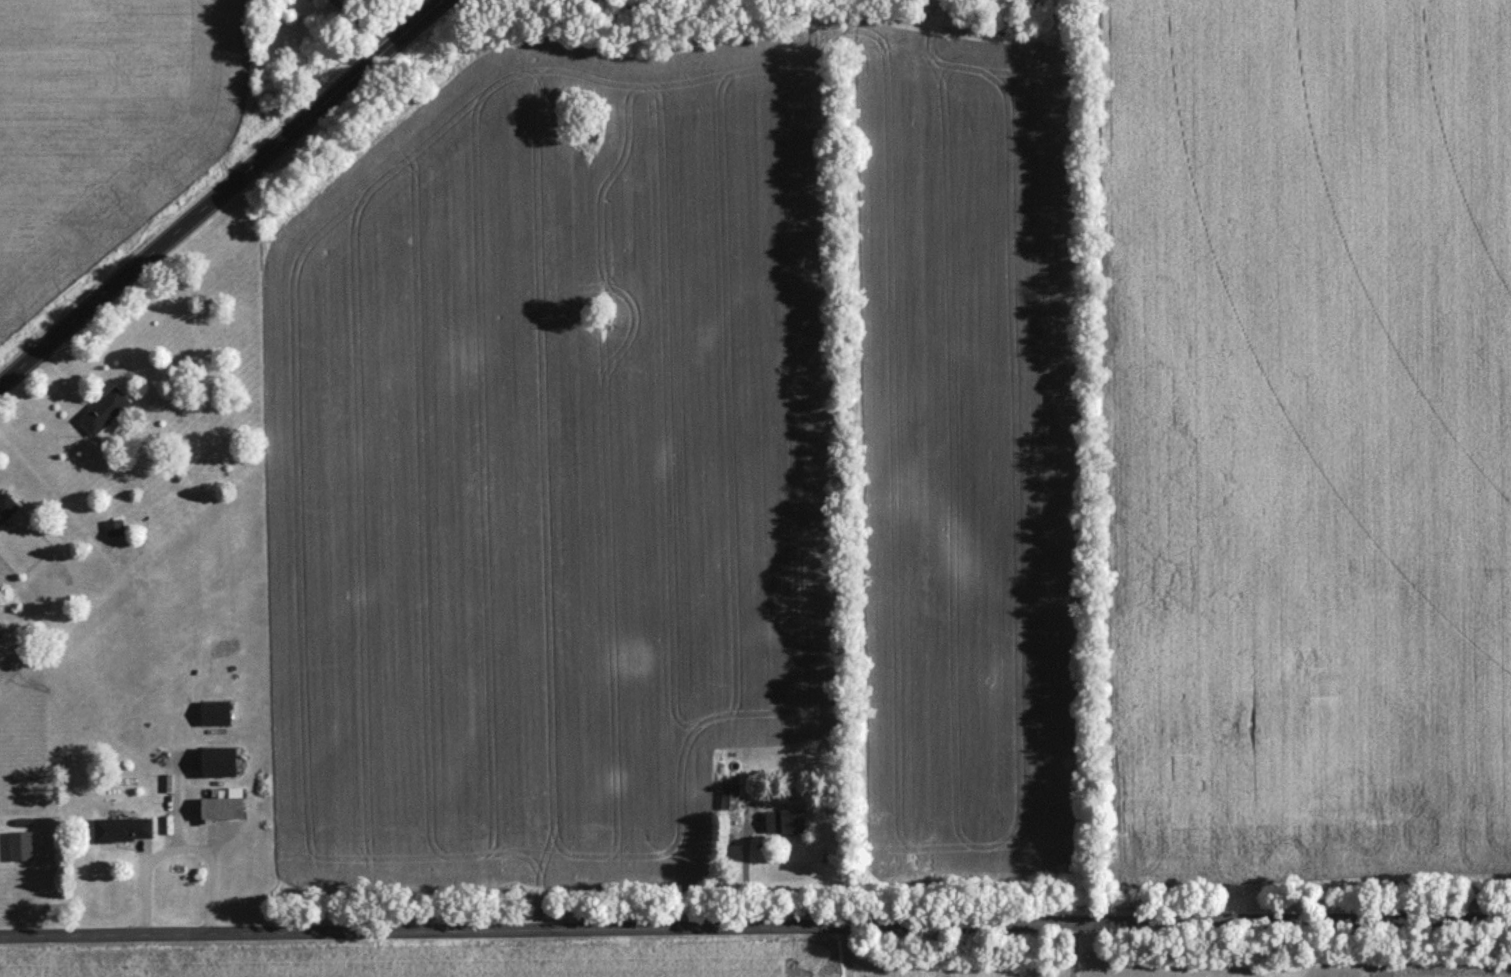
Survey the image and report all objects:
road: (220, 190)
building: (103, 415)
building: (6, 511)
building: (114, 532)
building: (215, 716)
building: (217, 765)
building: (729, 800)
building: (222, 810)
building: (784, 826)
building: (122, 834)
road: (755, 923)

